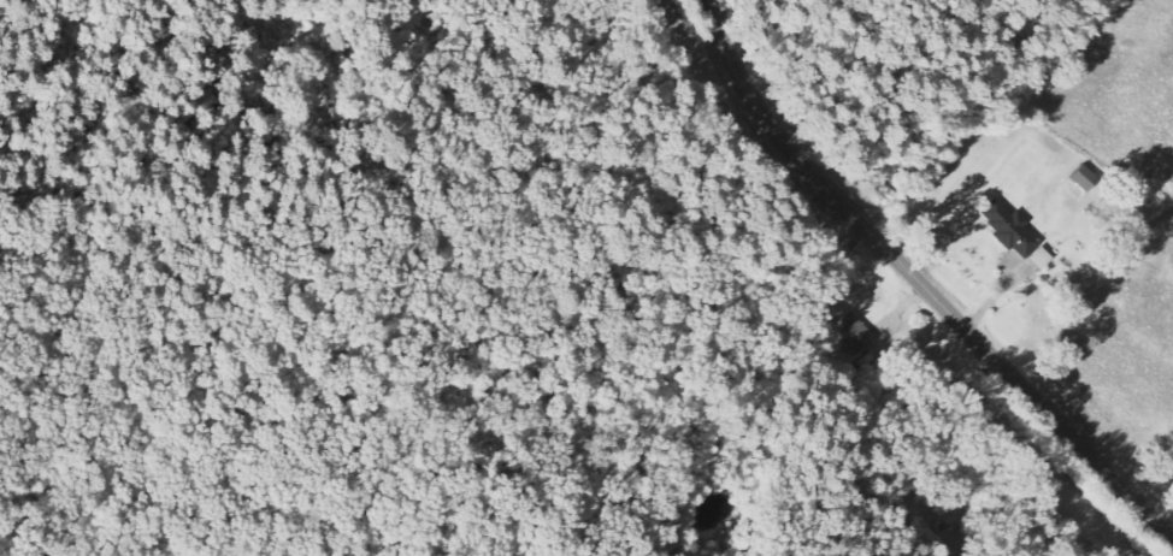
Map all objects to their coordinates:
building: (1083, 179)
building: (1014, 235)
road: (921, 284)
building: (856, 333)

